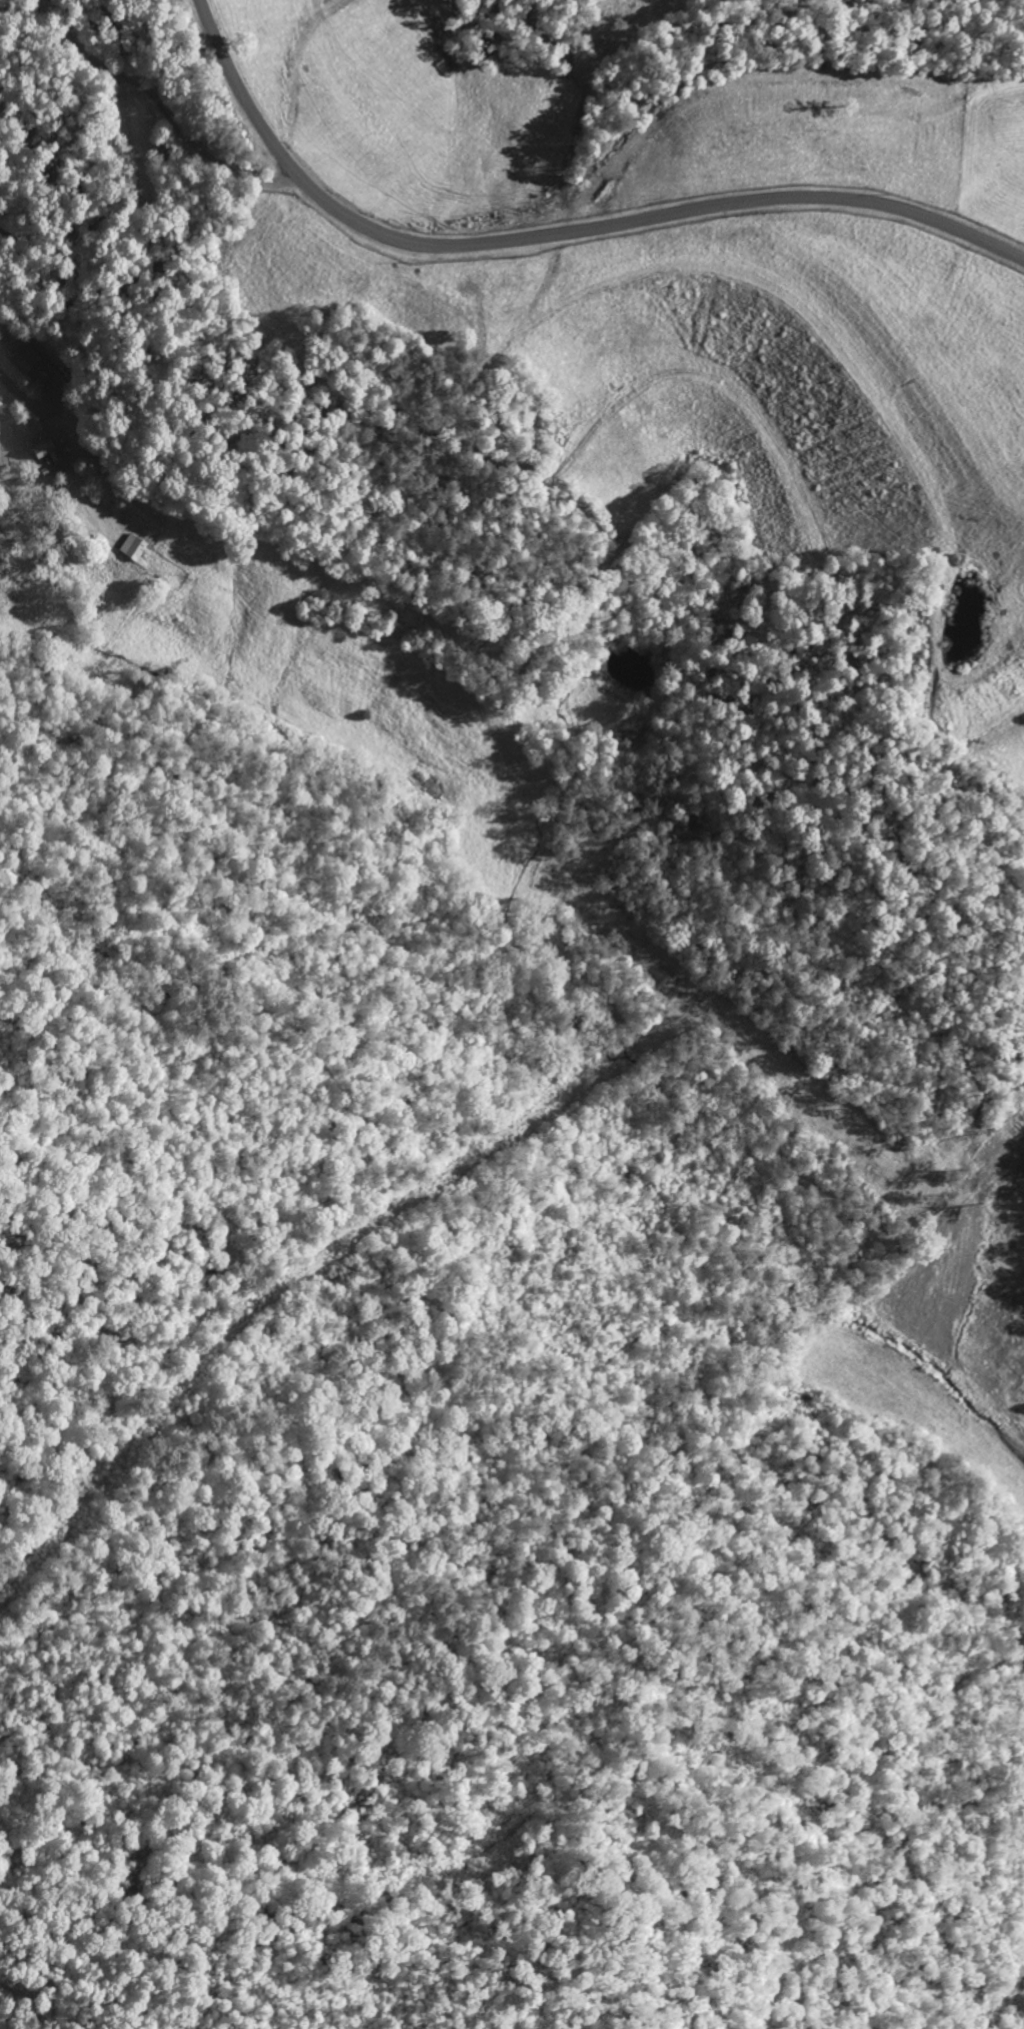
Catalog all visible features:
road: (552, 233)
building: (26, 356)
building: (48, 451)
building: (134, 546)
road: (110, 743)

